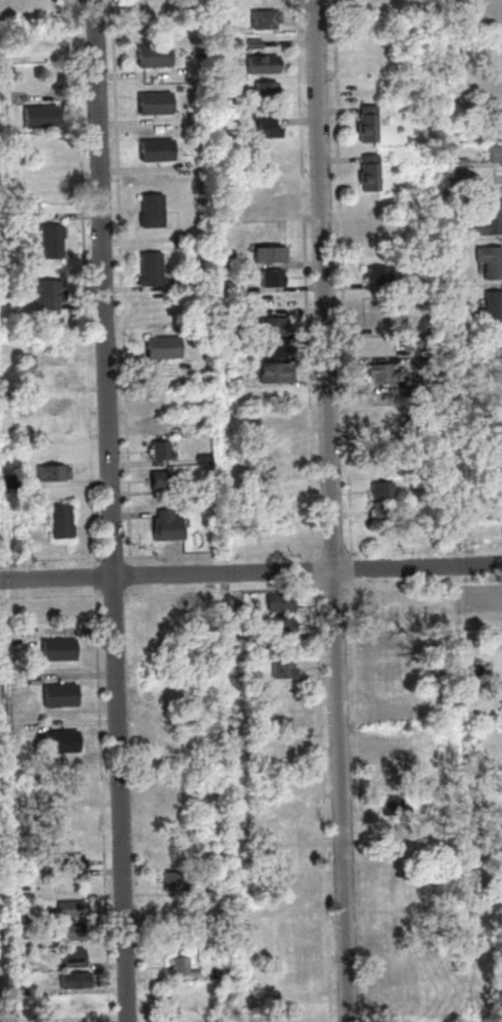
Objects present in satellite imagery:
building: (405, 0)
building: (362, 8)
building: (492, 11)
building: (266, 22)
building: (222, 27)
building: (256, 46)
building: (45, 49)
building: (155, 59)
building: (264, 66)
building: (497, 71)
building: (267, 91)
building: (156, 106)
building: (43, 119)
building: (371, 125)
building: (268, 132)
building: (158, 152)
building: (497, 156)
building: (269, 160)
building: (460, 164)
building: (372, 174)
building: (49, 190)
building: (272, 208)
building: (153, 212)
building: (491, 221)
building: (378, 229)
building: (53, 243)
building: (272, 255)
building: (229, 261)
building: (492, 263)
building: (152, 271)
building: (382, 277)
building: (274, 279)
road: (344, 279)
road: (307, 280)
road: (86, 283)
road: (123, 283)
building: (181, 286)
building: (230, 288)
building: (50, 293)
building: (493, 310)
building: (276, 327)
building: (165, 350)
building: (275, 351)
building: (275, 373)
building: (384, 374)
building: (234, 379)
building: (55, 380)
building: (14, 387)
building: (497, 388)
building: (159, 399)
building: (58, 402)
building: (277, 420)
building: (60, 427)
building: (163, 452)
building: (207, 460)
building: (279, 466)
building: (55, 474)
building: (161, 482)
building: (12, 483)
building: (384, 491)
road: (112, 510)
road: (333, 510)
building: (384, 513)
building: (468, 516)
building: (437, 517)
building: (63, 524)
building: (168, 529)
building: (377, 532)
road: (424, 549)
road: (335, 552)
road: (225, 555)
road: (114, 559)
road: (51, 561)
road: (353, 569)
road: (316, 570)
road: (251, 572)
road: (132, 576)
road: (96, 577)
road: (350, 588)
road: (335, 589)
road: (224, 592)
road: (113, 595)
road: (51, 597)
building: (387, 600)
building: (281, 602)
building: (62, 609)
building: (387, 622)
building: (283, 625)
building: (168, 628)
building: (240, 630)
building: (59, 649)
building: (390, 666)
building: (283, 671)
building: (473, 673)
building: (244, 677)
building: (389, 689)
building: (285, 692)
building: (61, 695)
building: (172, 695)
building: (500, 696)
building: (285, 715)
building: (288, 740)
building: (62, 741)
building: (169, 742)
building: (475, 763)
building: (289, 783)
building: (392, 783)
building: (67, 791)
building: (172, 793)
road: (360, 800)
road: (324, 801)
road: (139, 804)
road: (102, 805)
building: (394, 807)
building: (290, 809)
building: (395, 831)
building: (174, 850)
building: (69, 861)
building: (398, 862)
building: (290, 879)
building: (174, 882)
building: (220, 886)
building: (23, 898)
building: (394, 900)
building: (290, 903)
building: (72, 909)
building: (399, 924)
building: (294, 930)
building: (74, 932)
building: (24, 944)
building: (402, 947)
building: (295, 952)
building: (24, 954)
building: (74, 957)
building: (182, 967)
building: (400, 969)
building: (224, 975)
building: (296, 976)
building: (75, 981)
building: (26, 990)
building: (401, 997)
building: (79, 1005)
building: (296, 1019)
building: (402, 1019)

